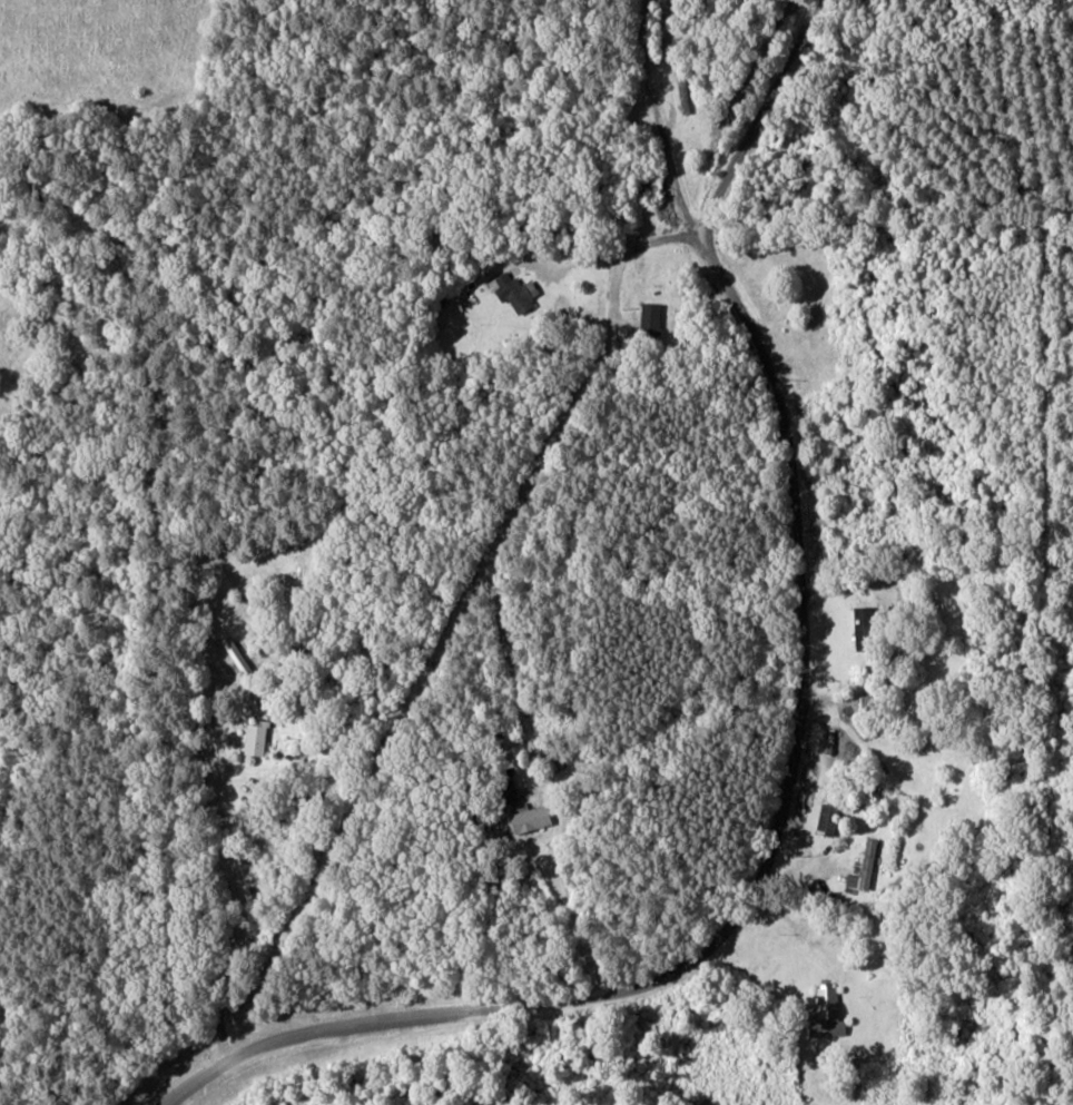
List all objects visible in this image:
road: (758, 119)
road: (660, 125)
building: (515, 294)
building: (651, 318)
building: (865, 629)
building: (256, 740)
building: (512, 796)
building: (532, 820)
building: (829, 820)
building: (865, 868)
road: (757, 878)
building: (829, 1015)
road: (219, 1016)

